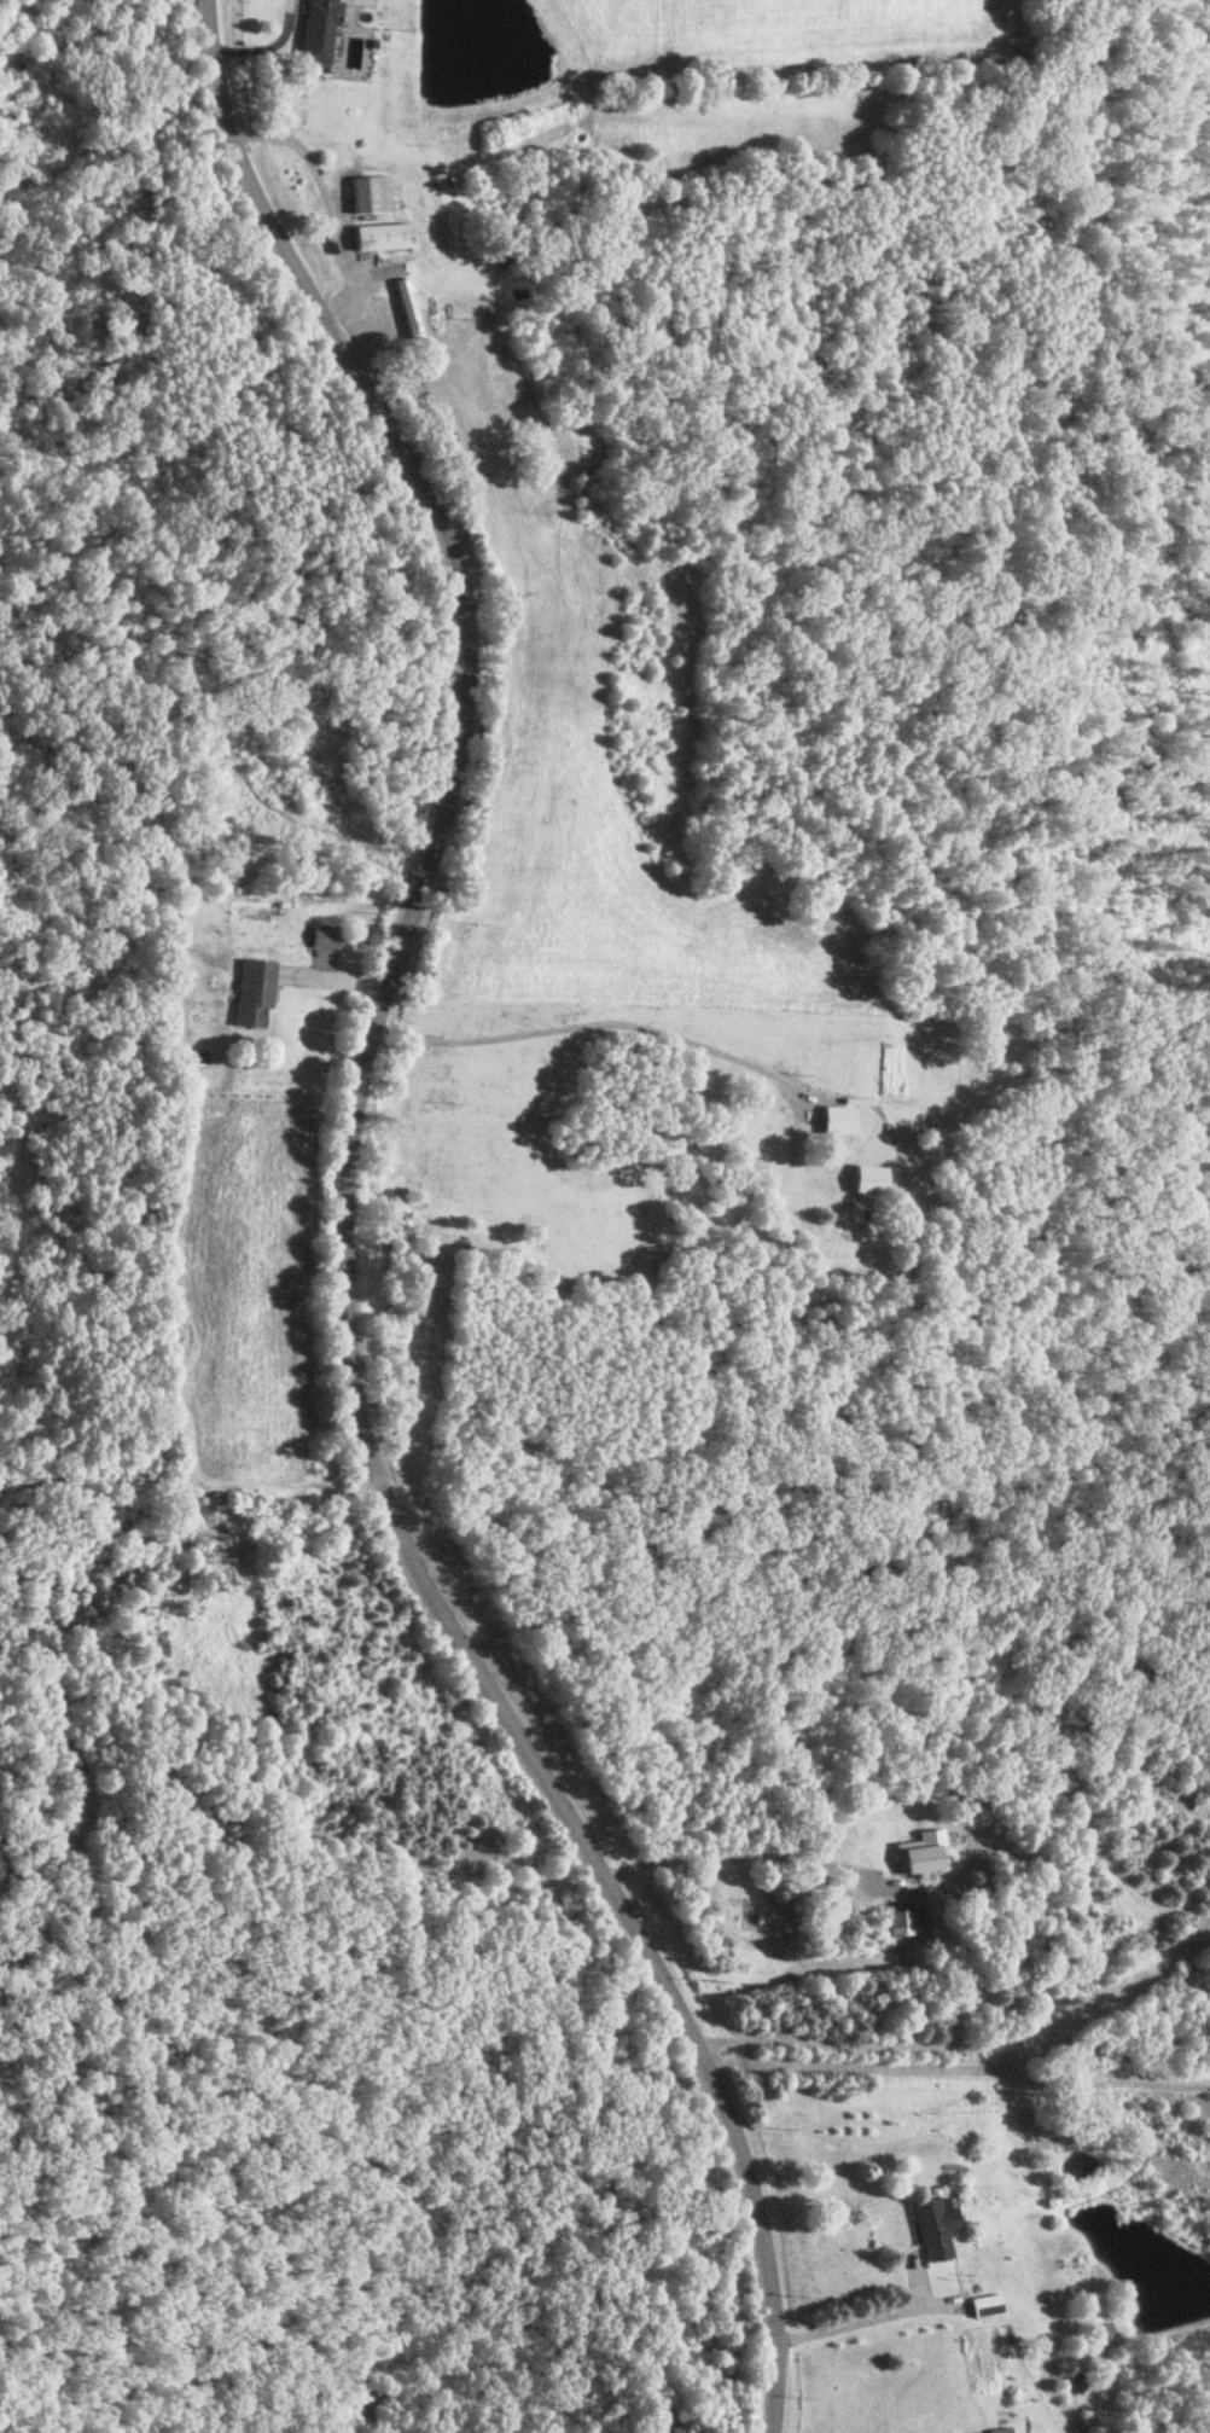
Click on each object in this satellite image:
building: (319, 31)
building: (370, 193)
building: (382, 236)
building: (254, 992)
road: (594, 1022)
building: (839, 1117)
building: (872, 1175)
road: (348, 1230)
building: (918, 1853)
building: (901, 1921)
building: (752, 1923)
road: (954, 2042)
building: (935, 2225)
road: (863, 2319)

